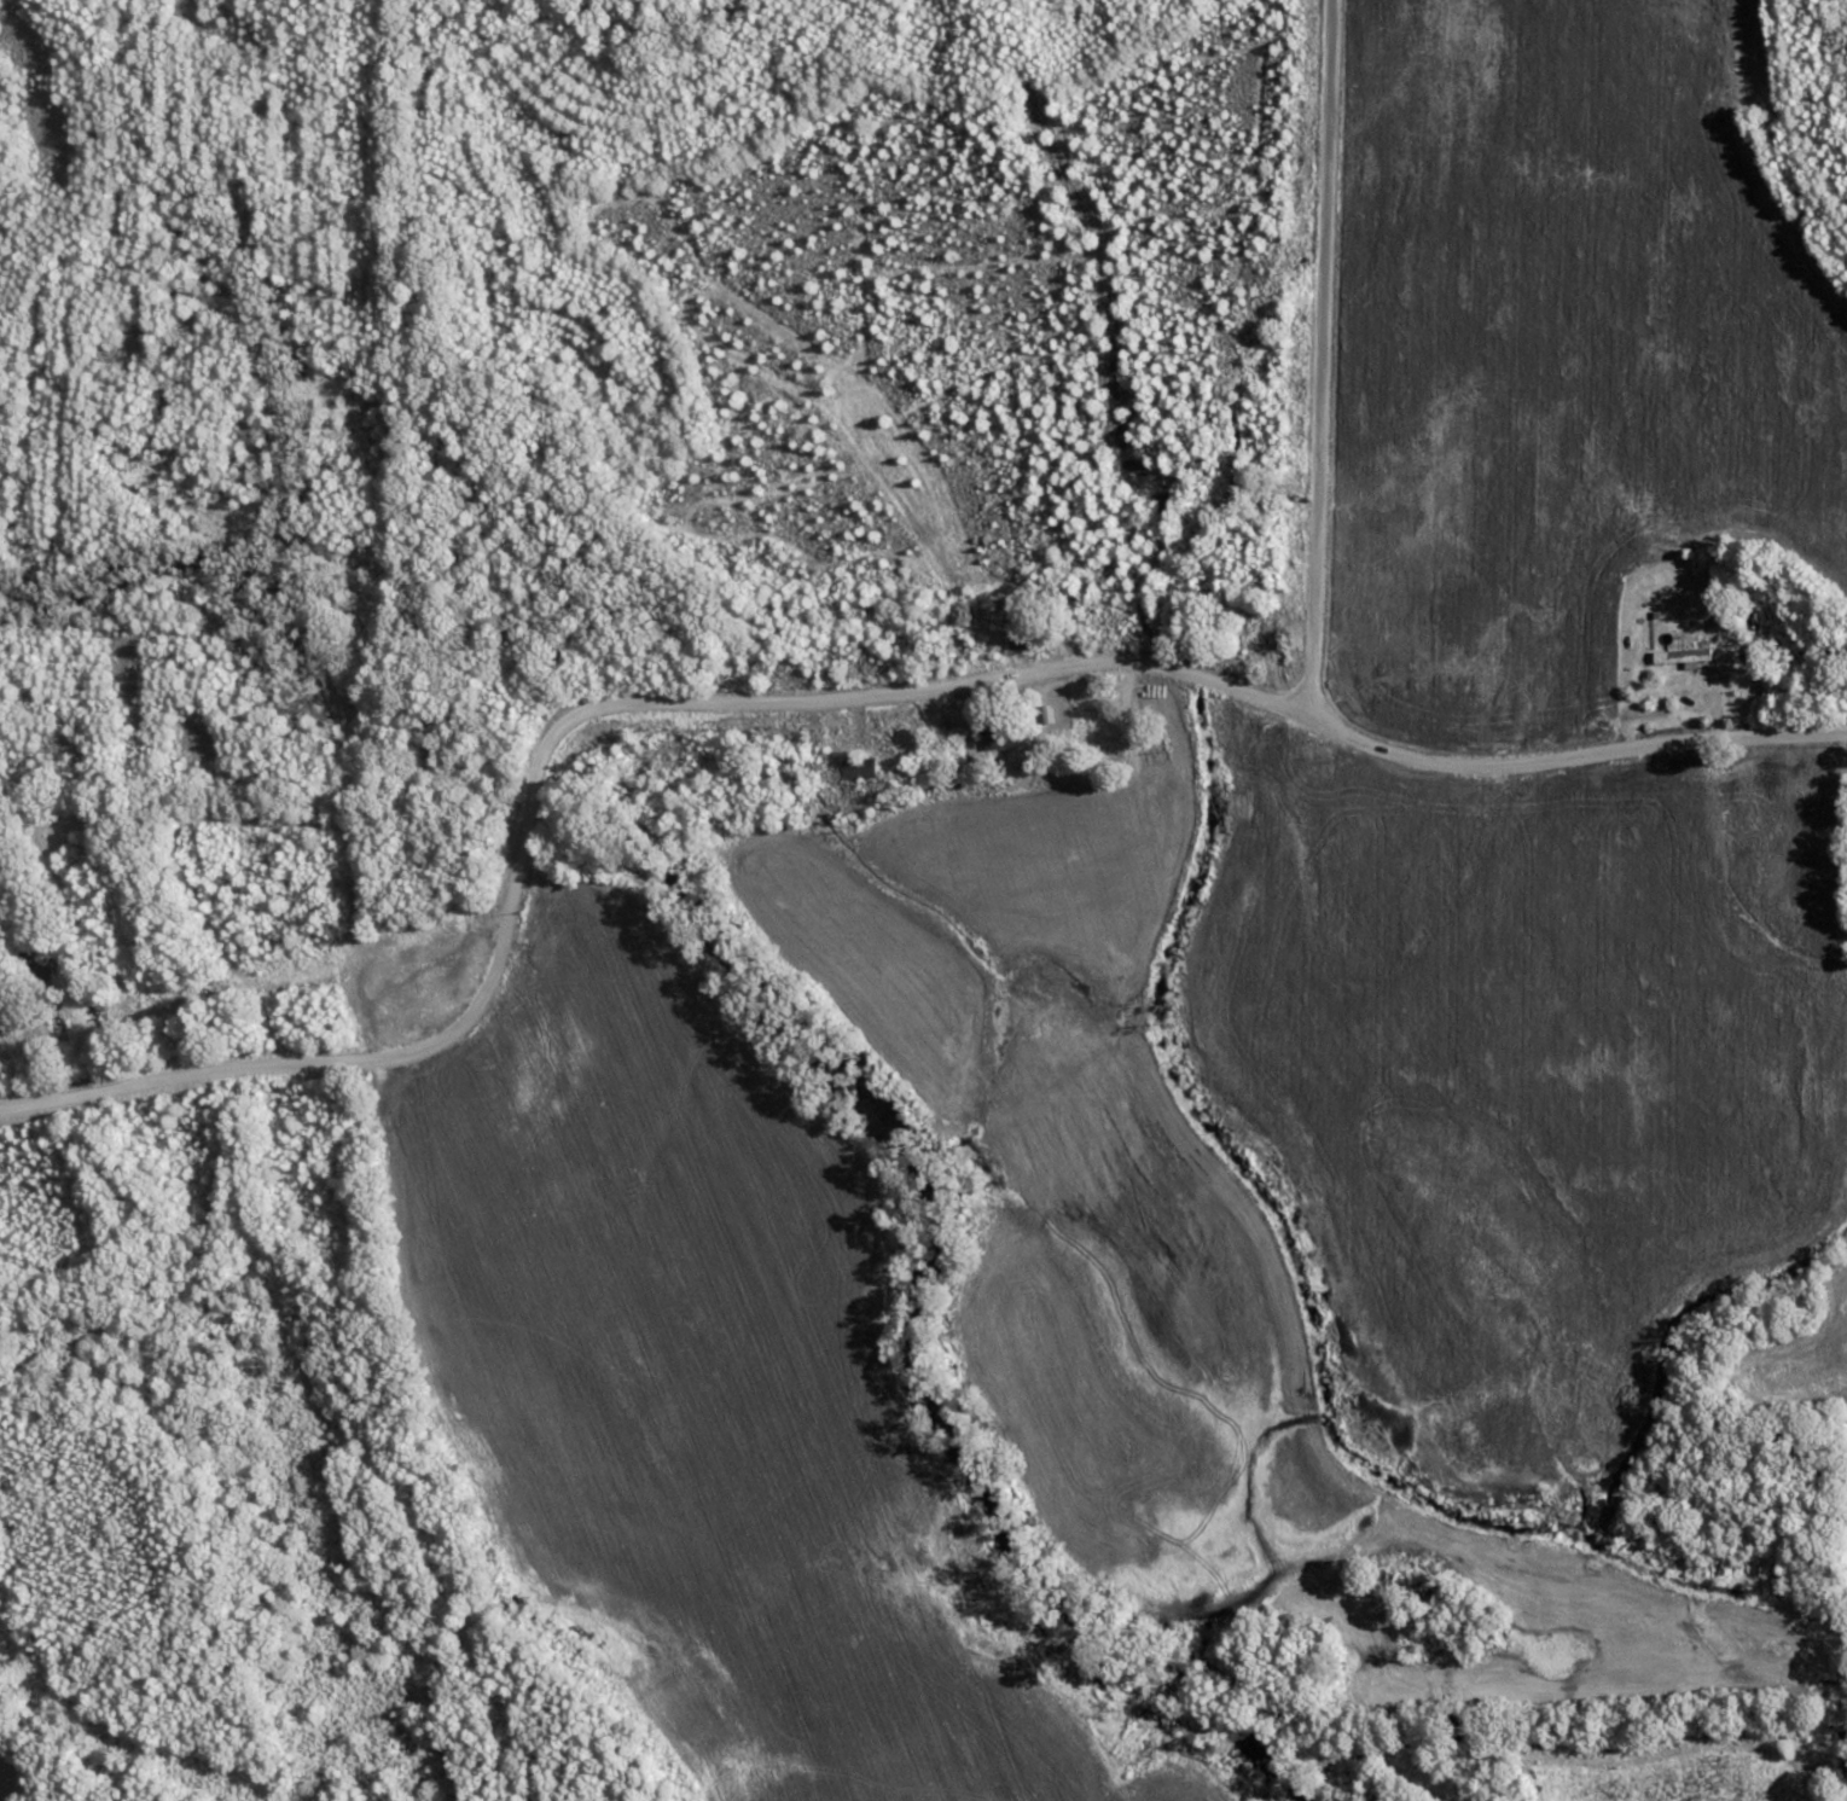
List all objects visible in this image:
road: (1294, 361)
building: (1022, 635)
building: (1261, 638)
building: (1690, 675)
building: (1001, 737)
building: (861, 768)
road: (558, 771)
road: (1556, 790)

